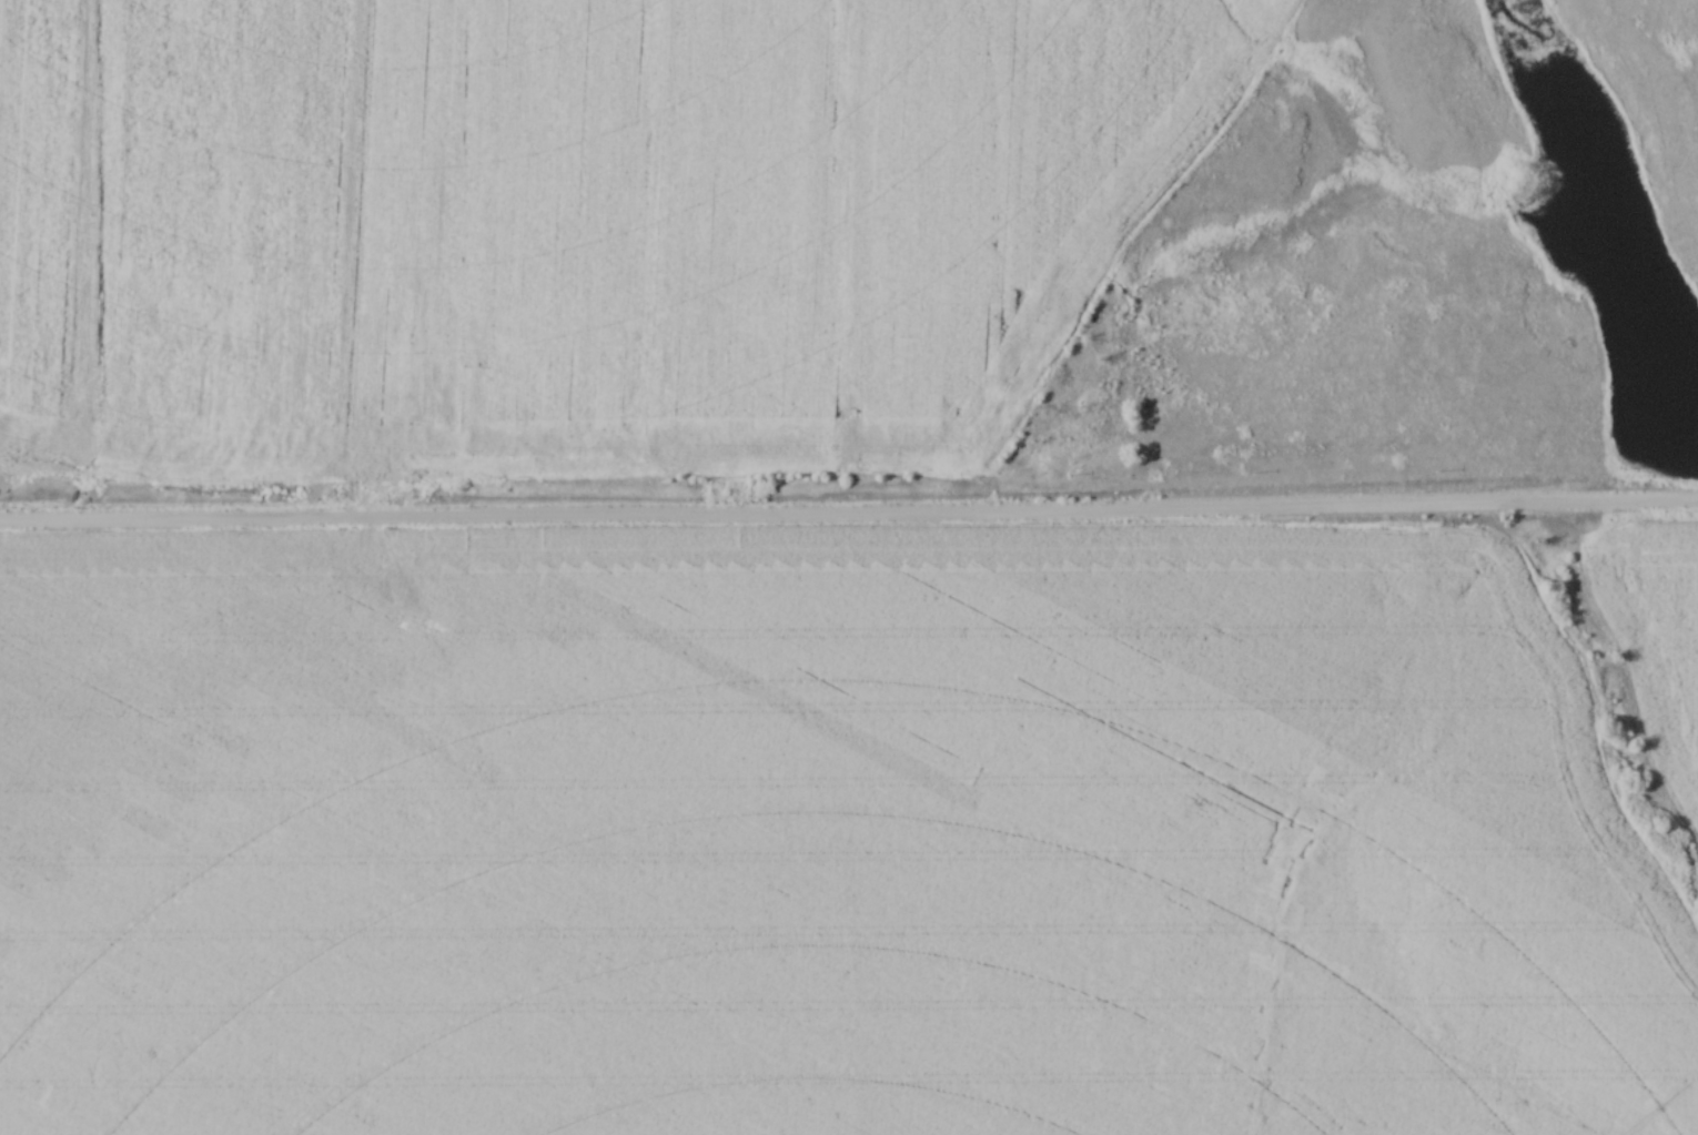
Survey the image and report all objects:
road: (849, 516)

